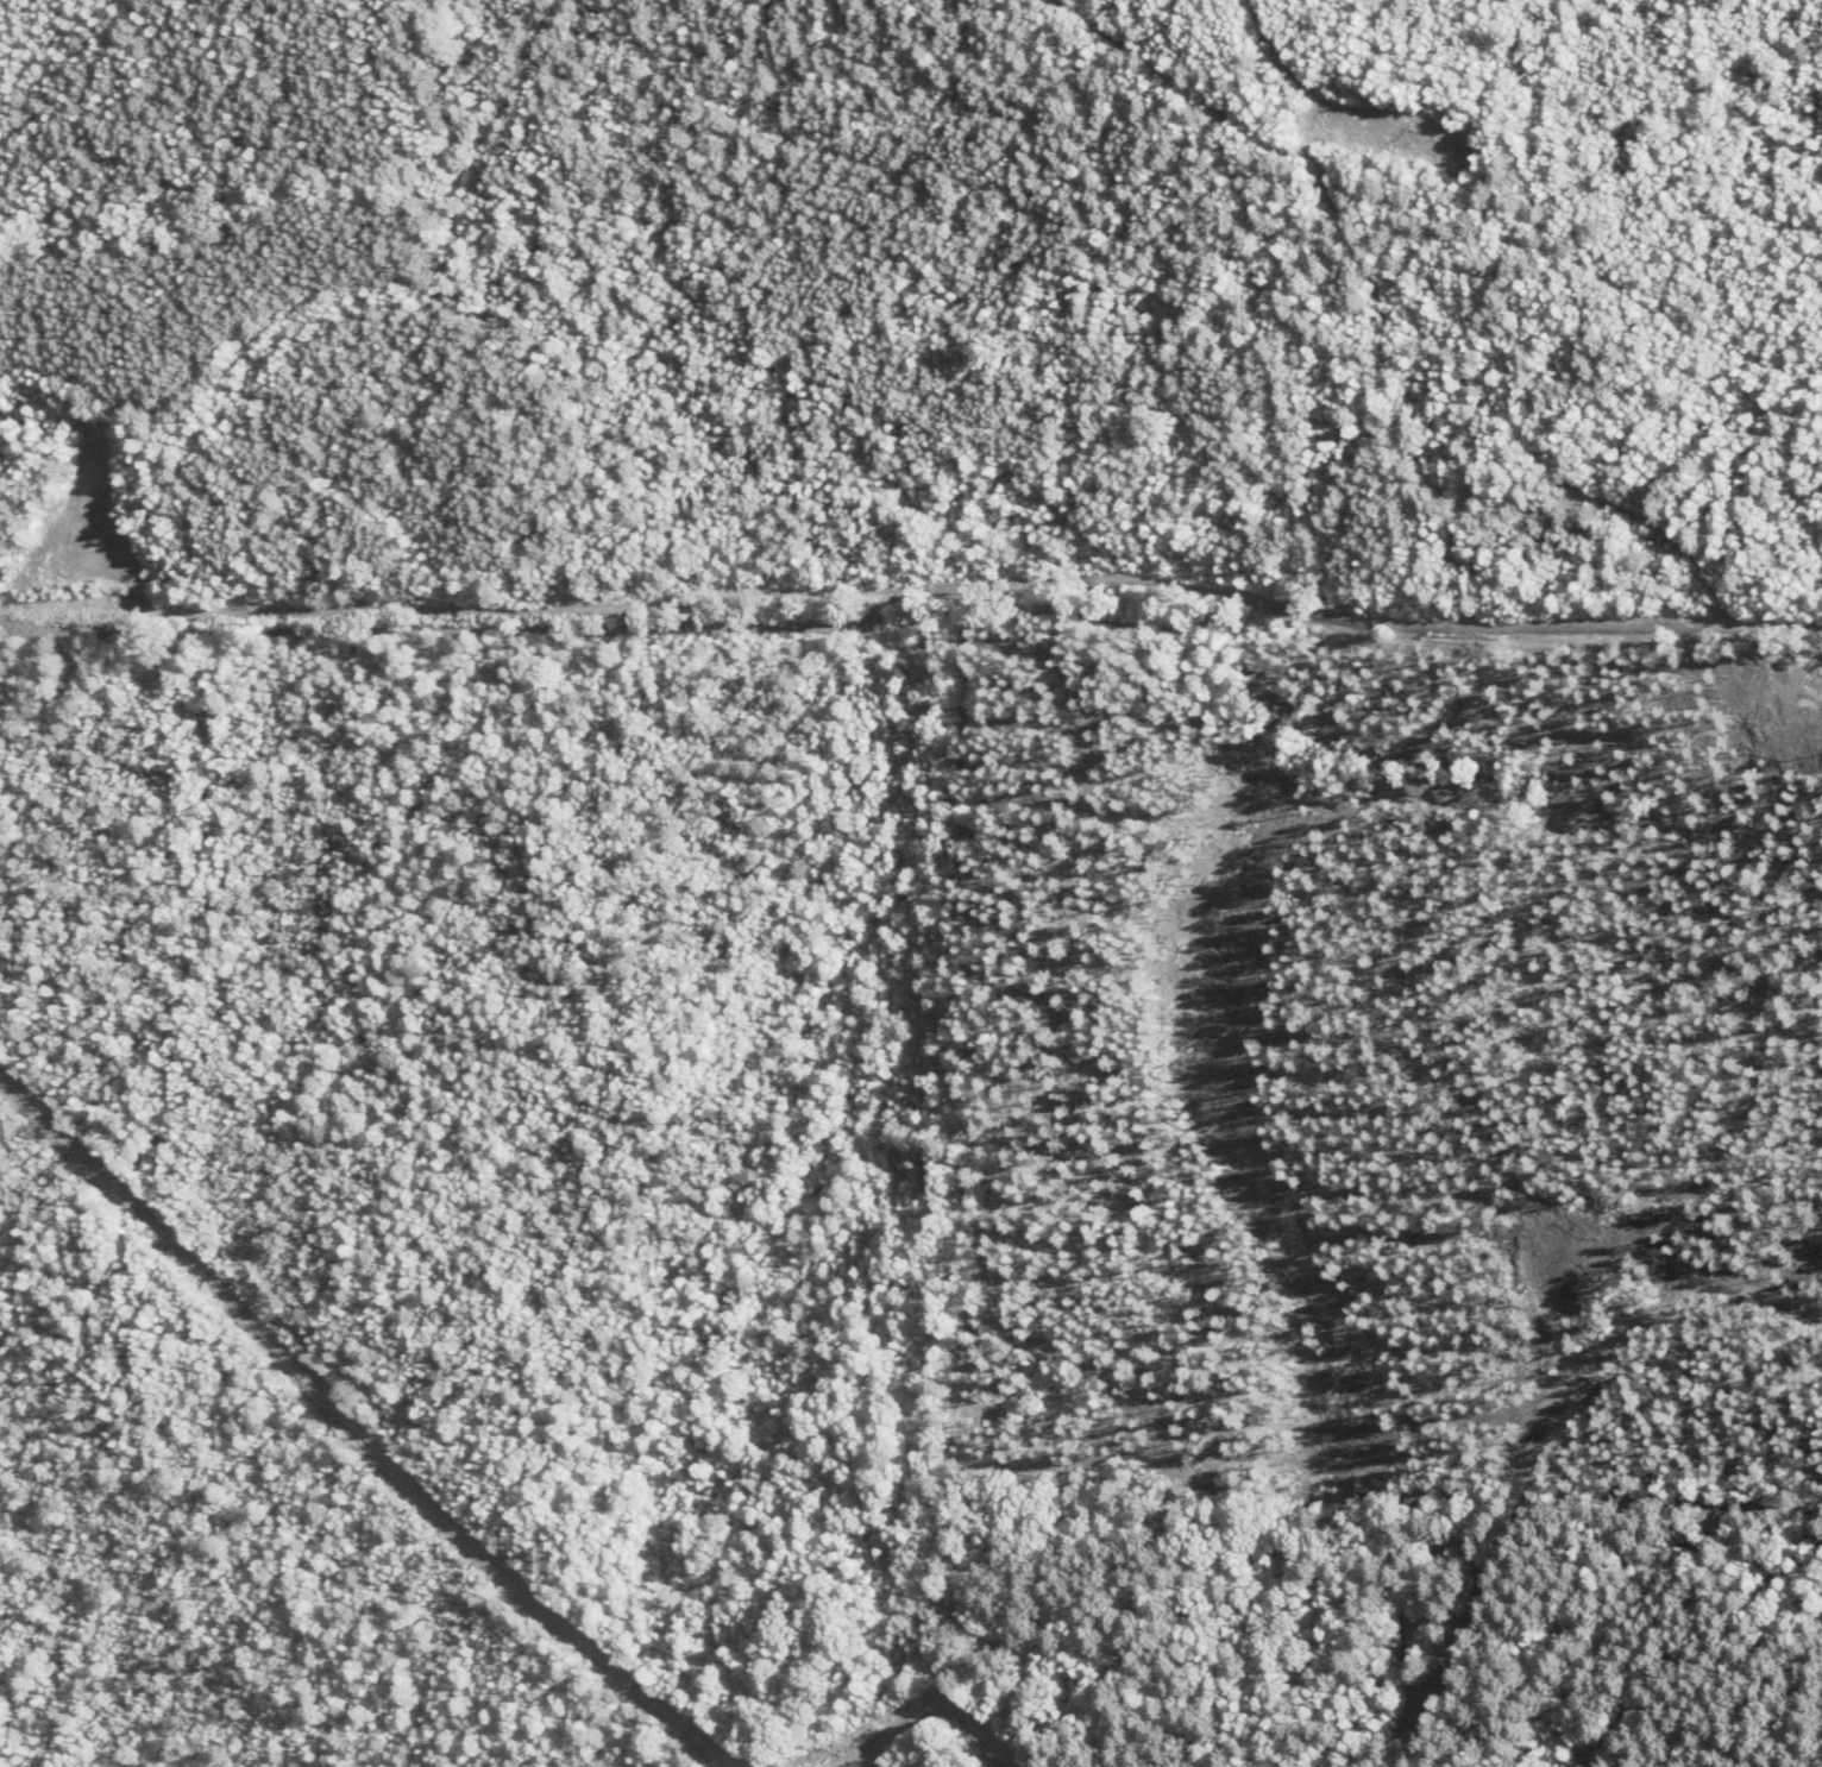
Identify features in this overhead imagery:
road: (1149, 1667)

